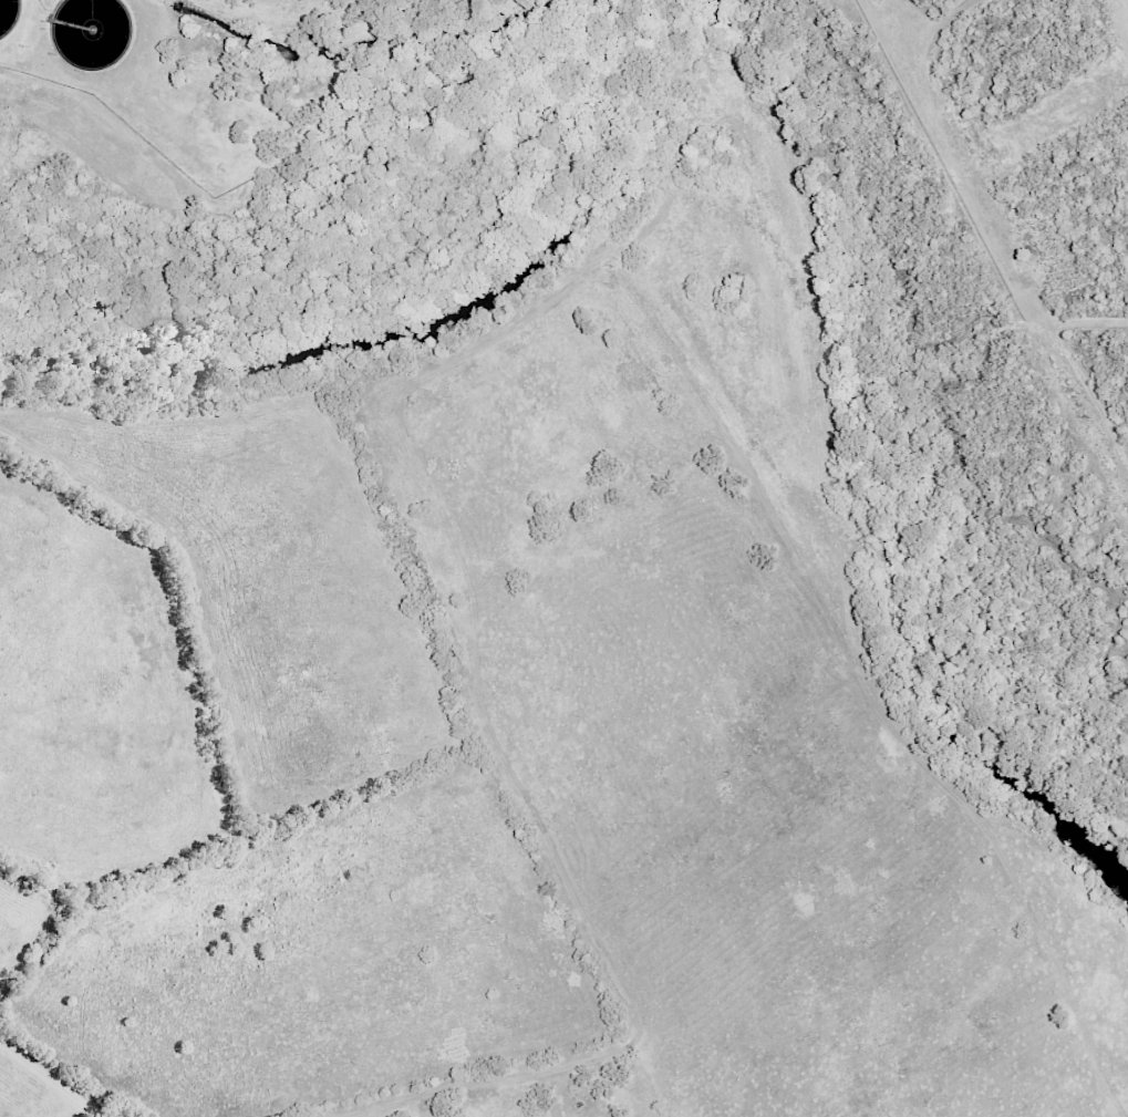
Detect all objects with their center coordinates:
wastewater plant: (110, 63)
road: (52, 1078)

